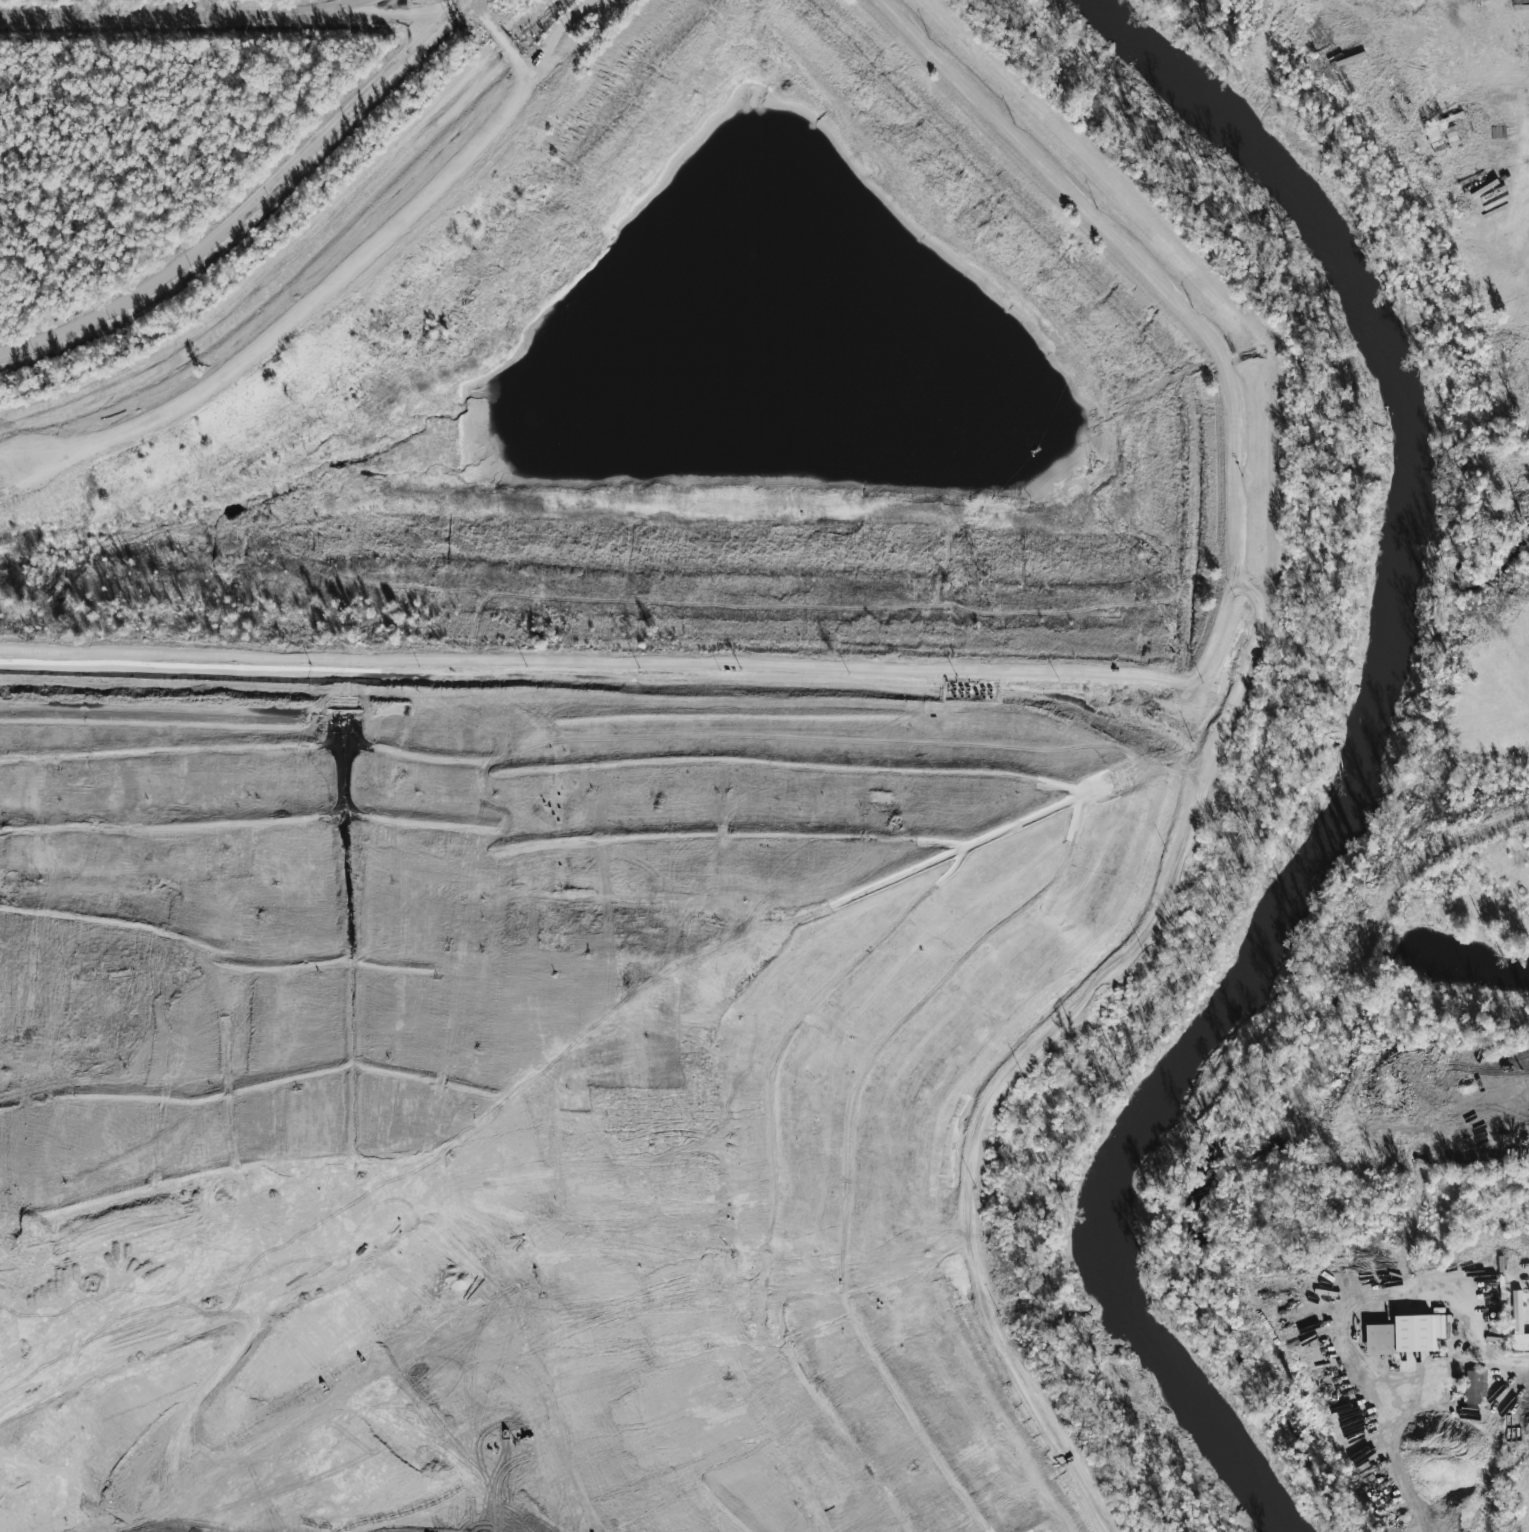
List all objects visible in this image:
road: (330, 9)
road: (147, 18)
road: (366, 19)
road: (497, 42)
road: (250, 205)
road: (334, 288)
road: (1011, 669)
river: (1362, 772)
road: (1078, 812)
landfill: (544, 1074)
road: (980, 1117)
road: (1507, 1240)
building: (1516, 1323)
building: (1402, 1335)
building: (1470, 1388)

